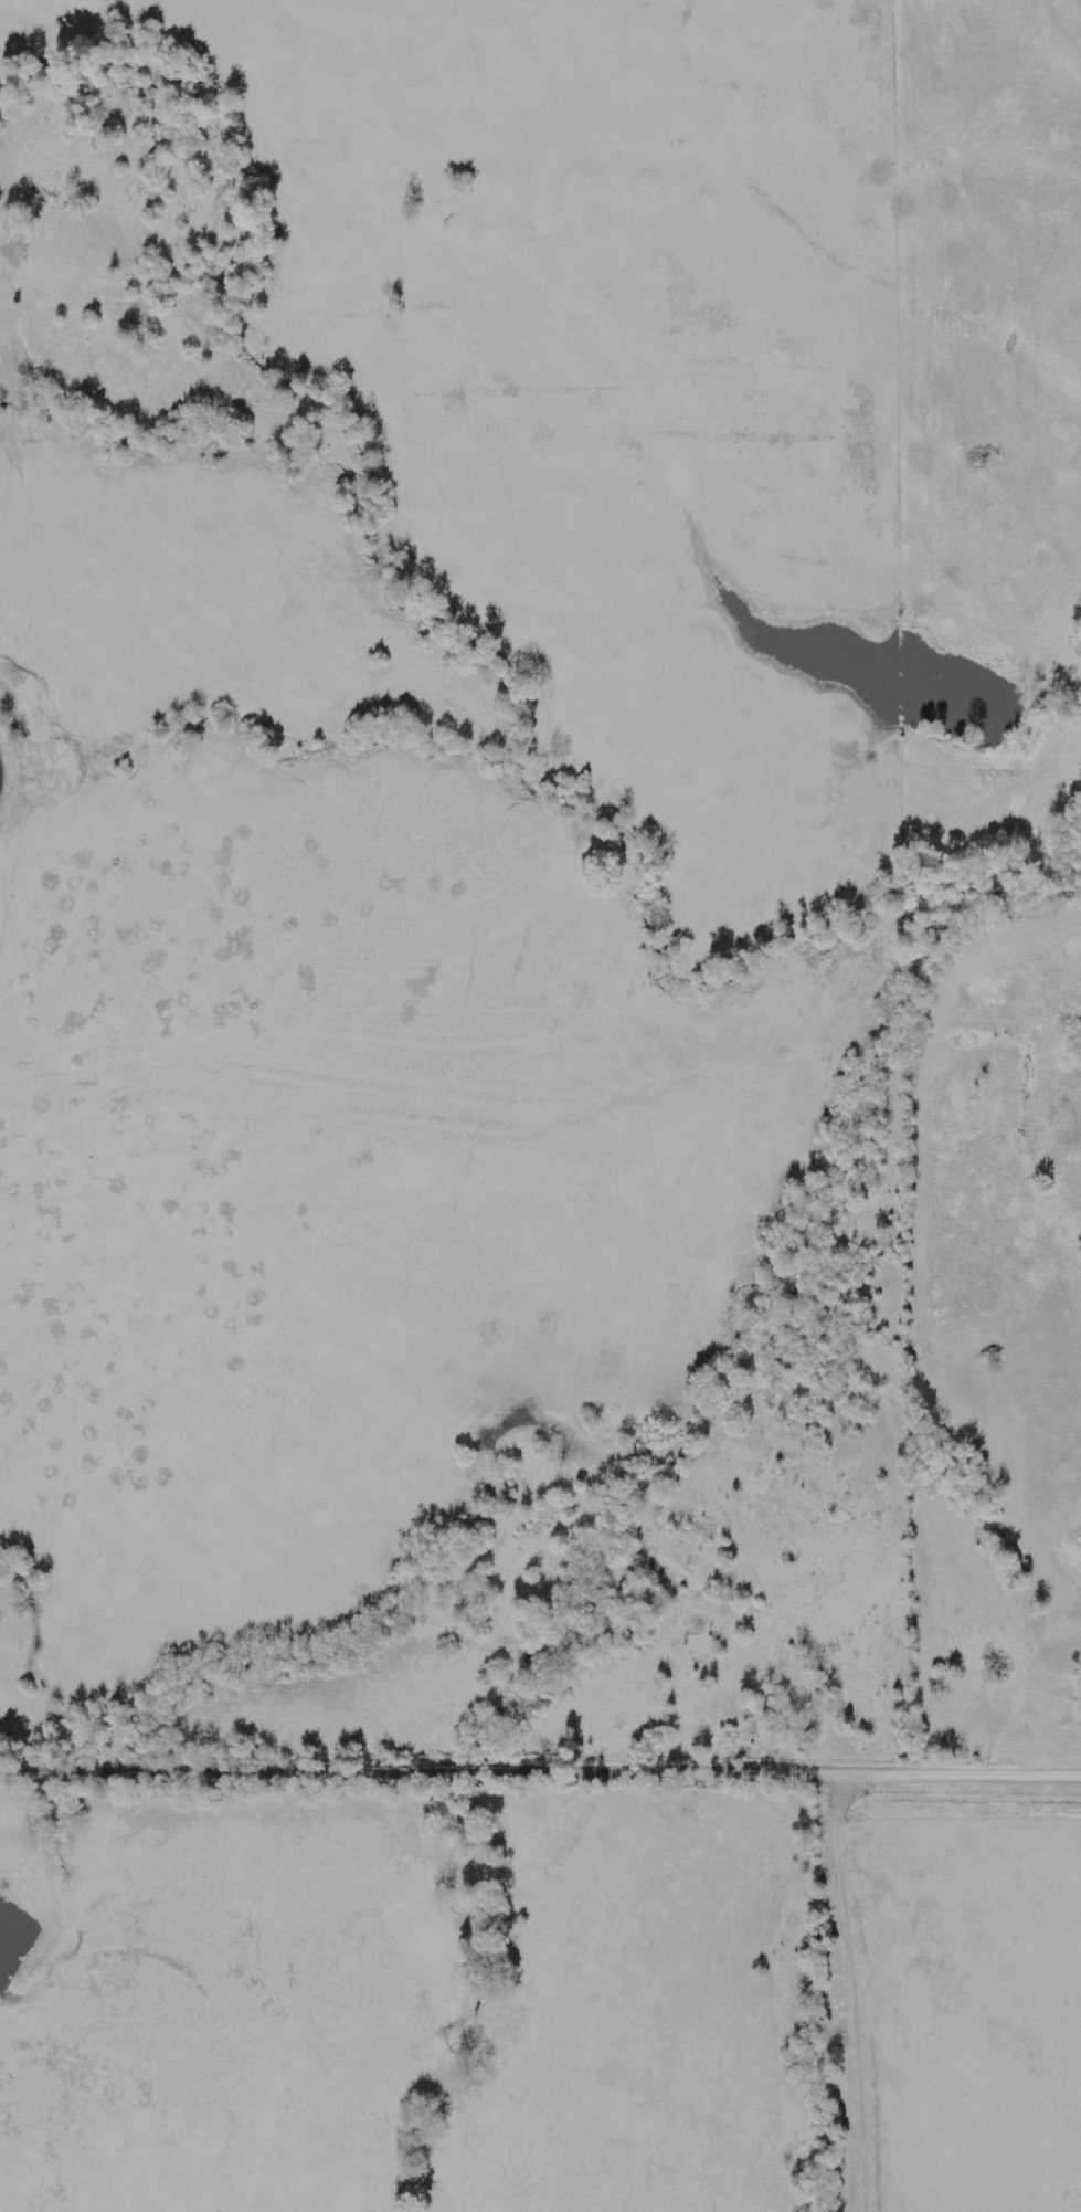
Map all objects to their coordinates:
road: (540, 1777)

